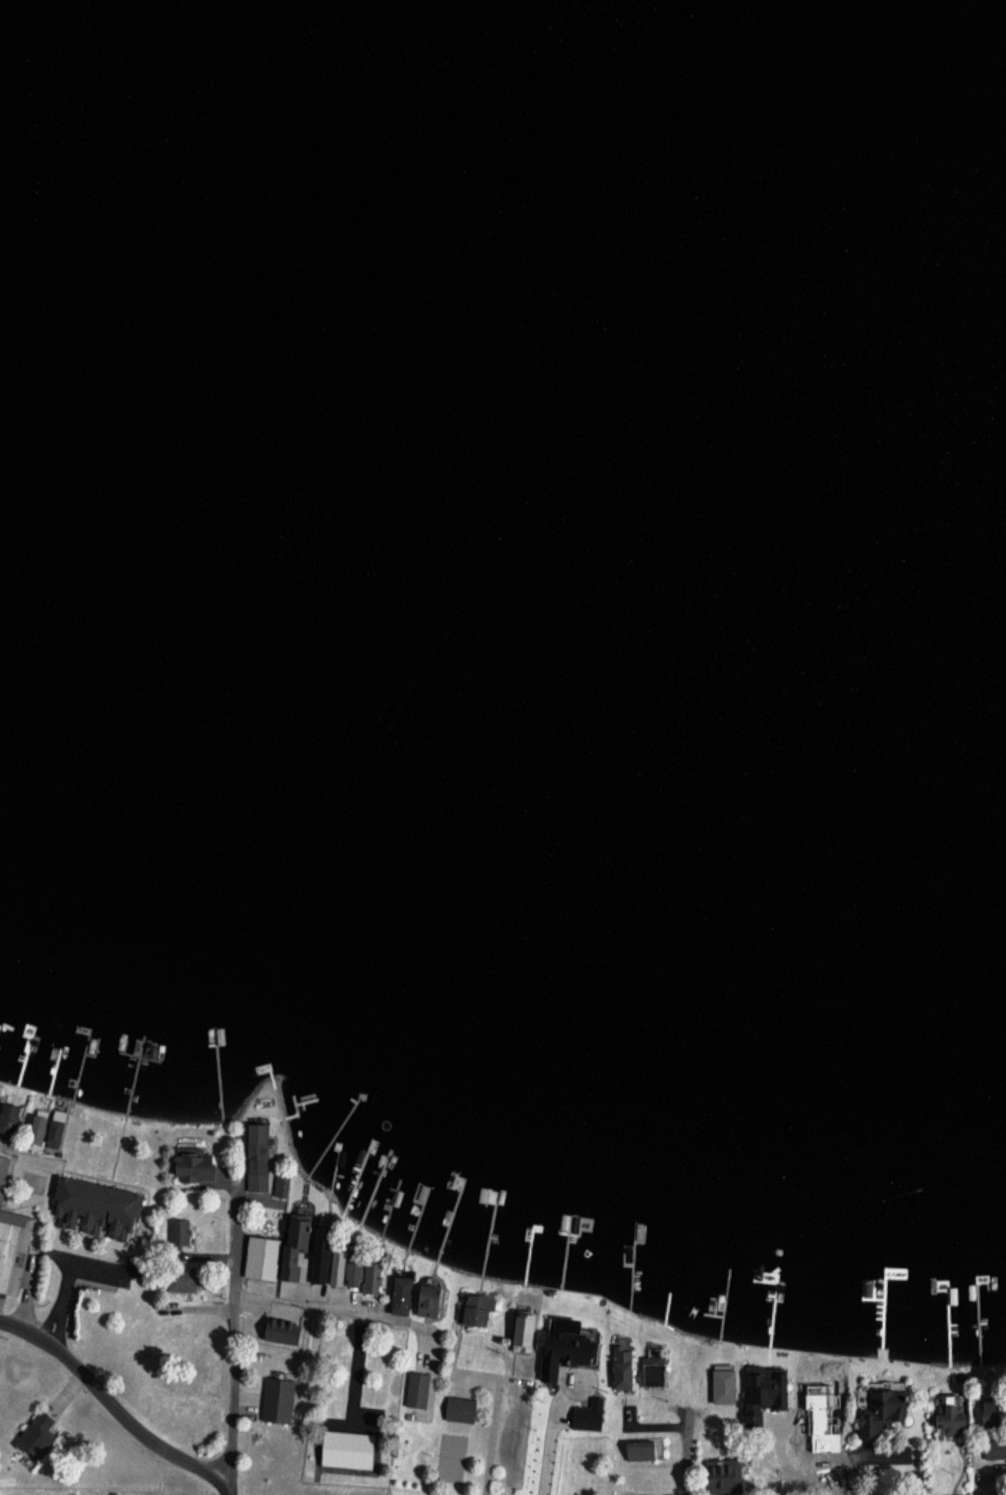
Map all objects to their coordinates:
building: (13, 1121)
building: (45, 1130)
building: (59, 1134)
road: (31, 1156)
building: (260, 1157)
building: (283, 1185)
building: (180, 1234)
building: (7, 1242)
building: (304, 1247)
building: (265, 1258)
building: (329, 1258)
building: (358, 1273)
building: (185, 1282)
building: (407, 1296)
building: (435, 1303)
road: (321, 1307)
building: (480, 1309)
building: (531, 1332)
road: (231, 1342)
building: (727, 1387)
building: (419, 1390)
building: (771, 1395)
building: (281, 1400)
road: (112, 1409)
building: (464, 1410)
building: (878, 1411)
building: (592, 1415)
road: (930, 1431)
building: (42, 1433)
building: (353, 1450)
building: (645, 1450)
road: (851, 1468)
road: (687, 1471)
building: (730, 1476)

